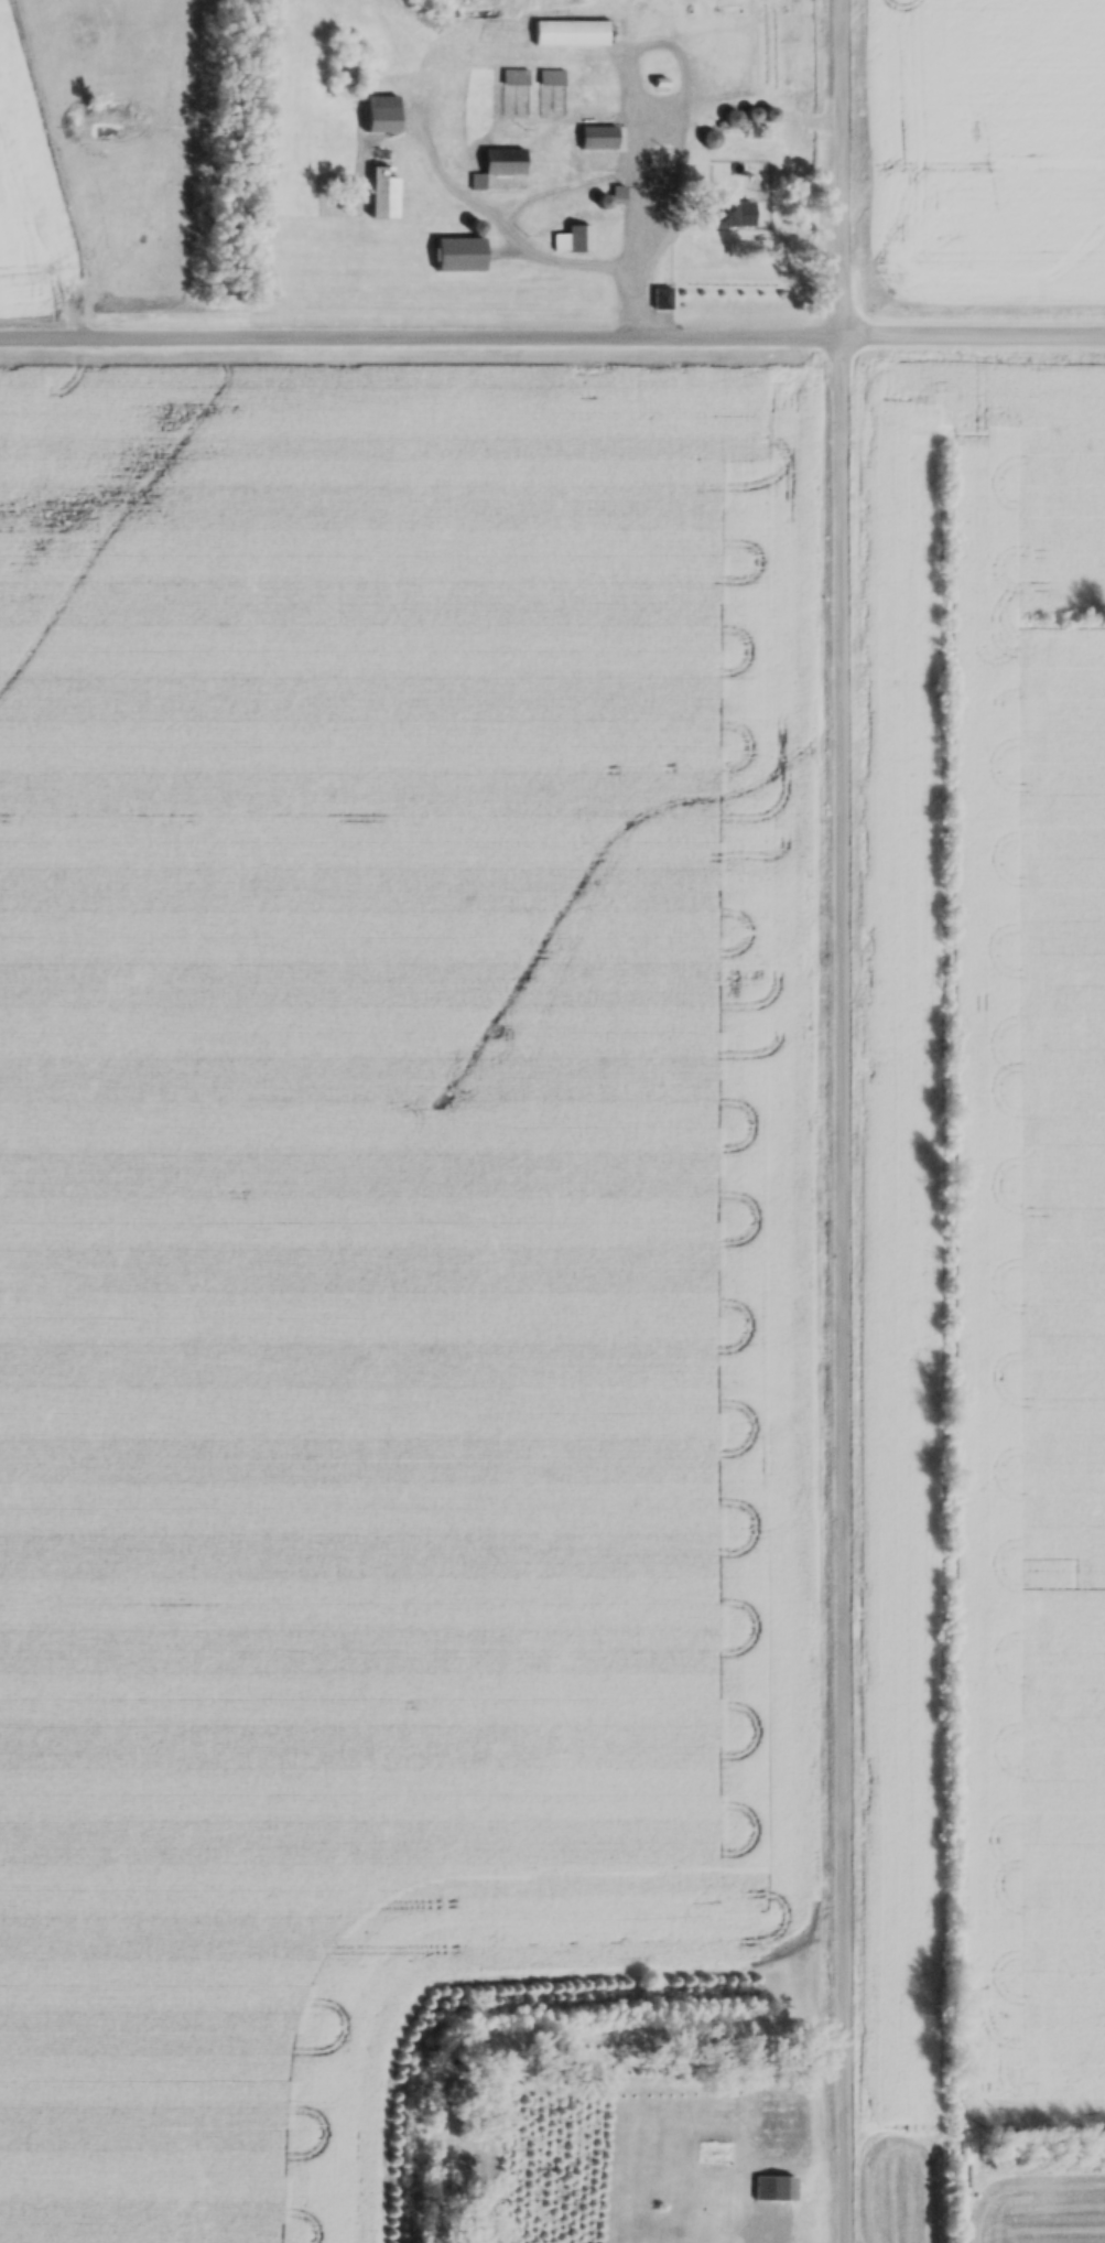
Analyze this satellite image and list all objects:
building: (571, 35)
building: (724, 51)
building: (801, 66)
building: (660, 71)
building: (517, 79)
building: (552, 79)
building: (383, 116)
building: (600, 140)
building: (502, 172)
building: (386, 194)
building: (737, 215)
building: (574, 240)
road: (570, 255)
building: (462, 256)
building: (664, 299)
road: (974, 332)
road: (421, 333)
road: (844, 1121)
building: (776, 2190)

